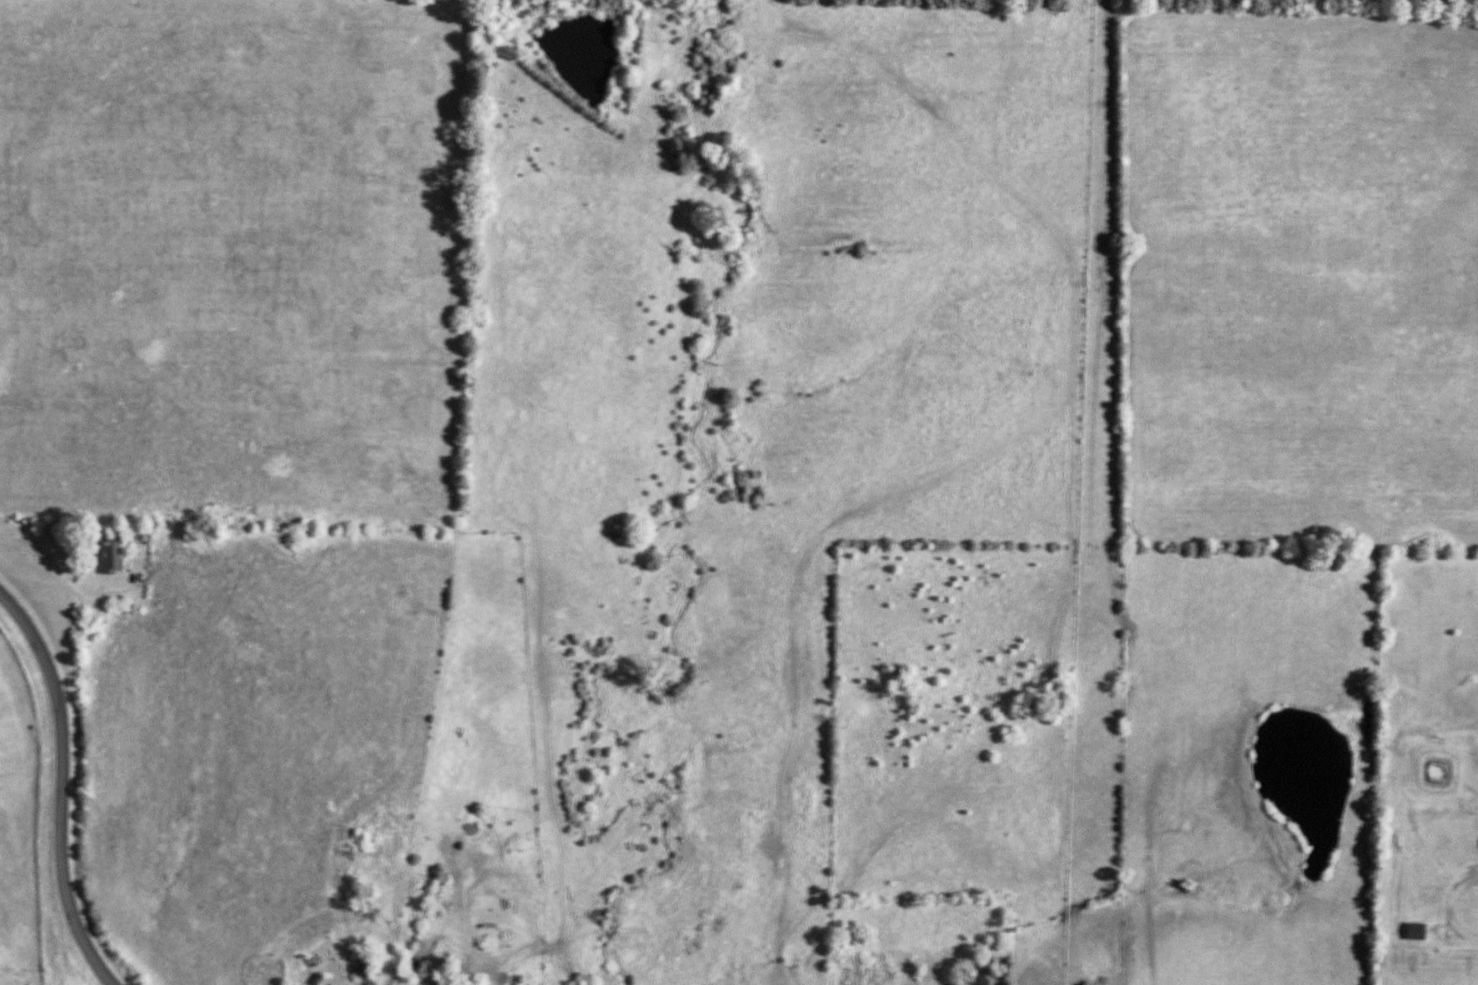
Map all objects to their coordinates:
building: (111, 557)
road: (72, 587)
road: (63, 787)
road: (1446, 908)

